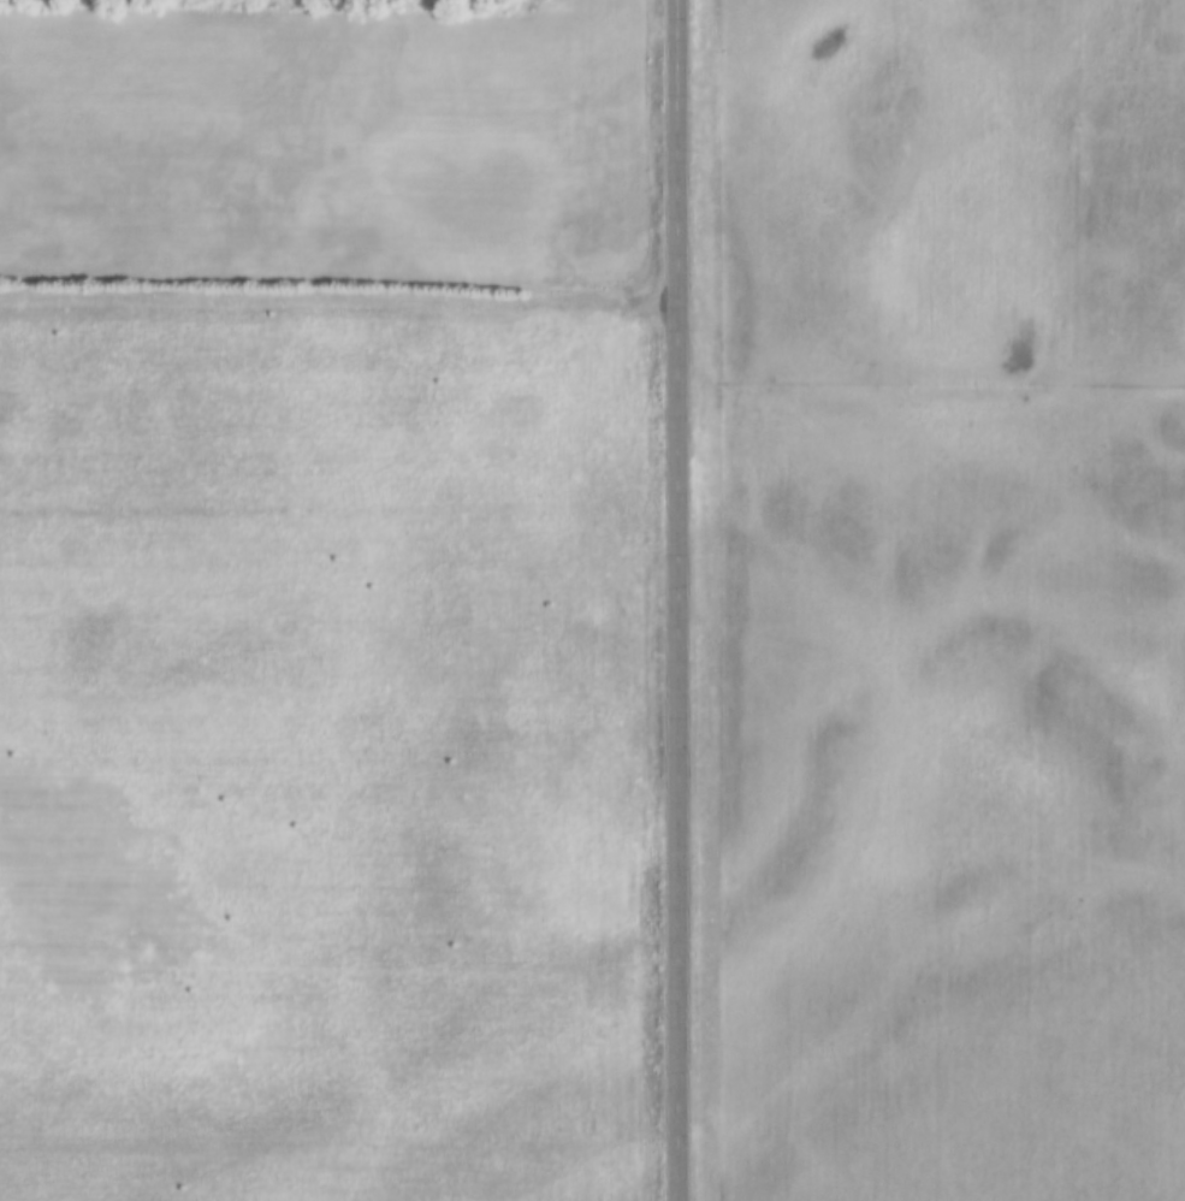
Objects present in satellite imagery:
road: (680, 600)

